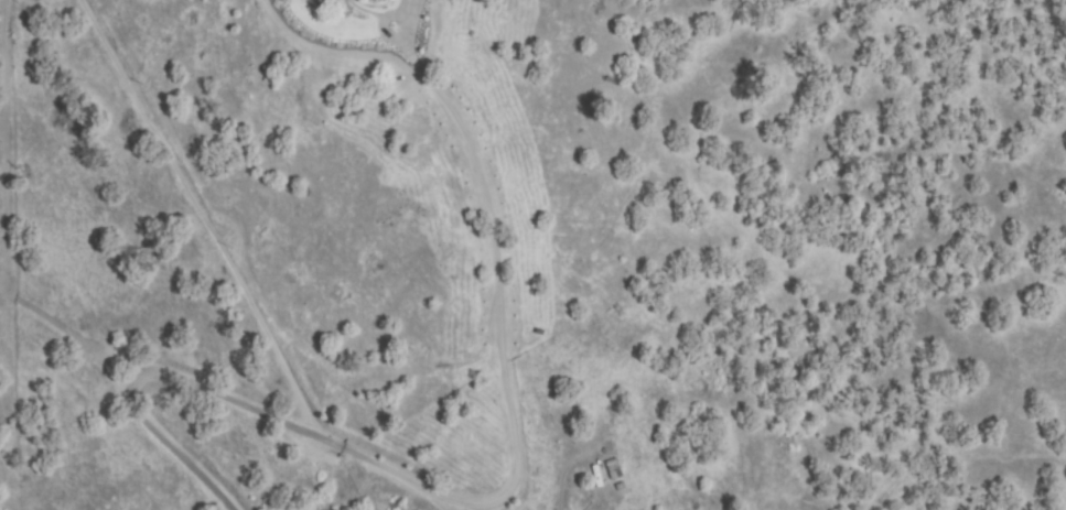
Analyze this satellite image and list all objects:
road: (212, 386)
building: (614, 468)
building: (596, 475)
building: (621, 487)
building: (601, 500)

